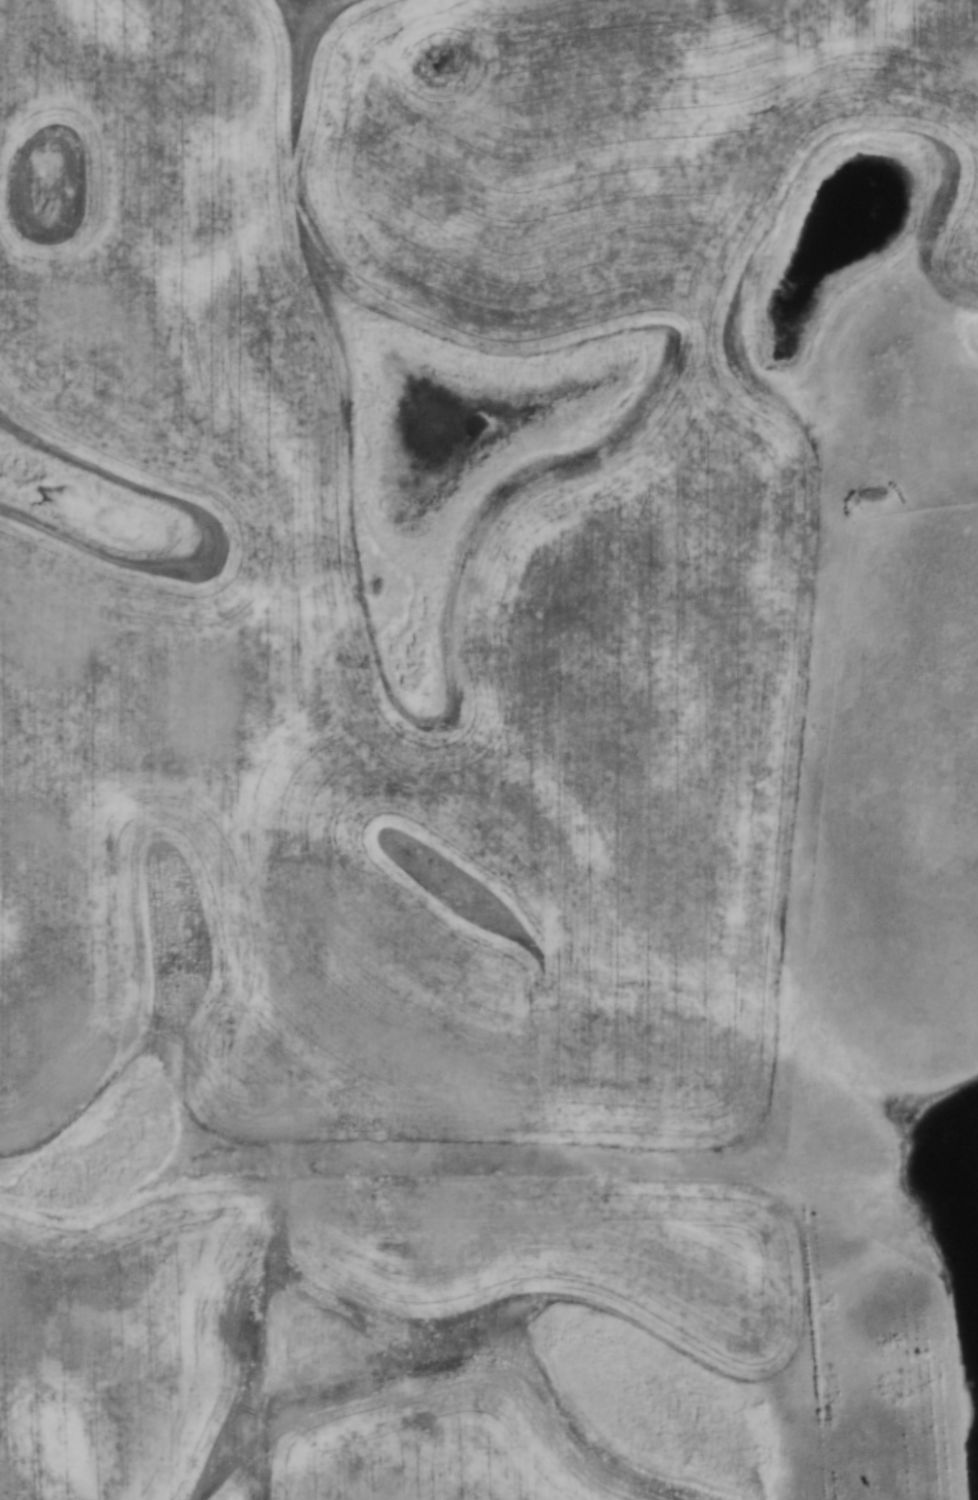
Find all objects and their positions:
building: (906, 423)
road: (13, 1140)

